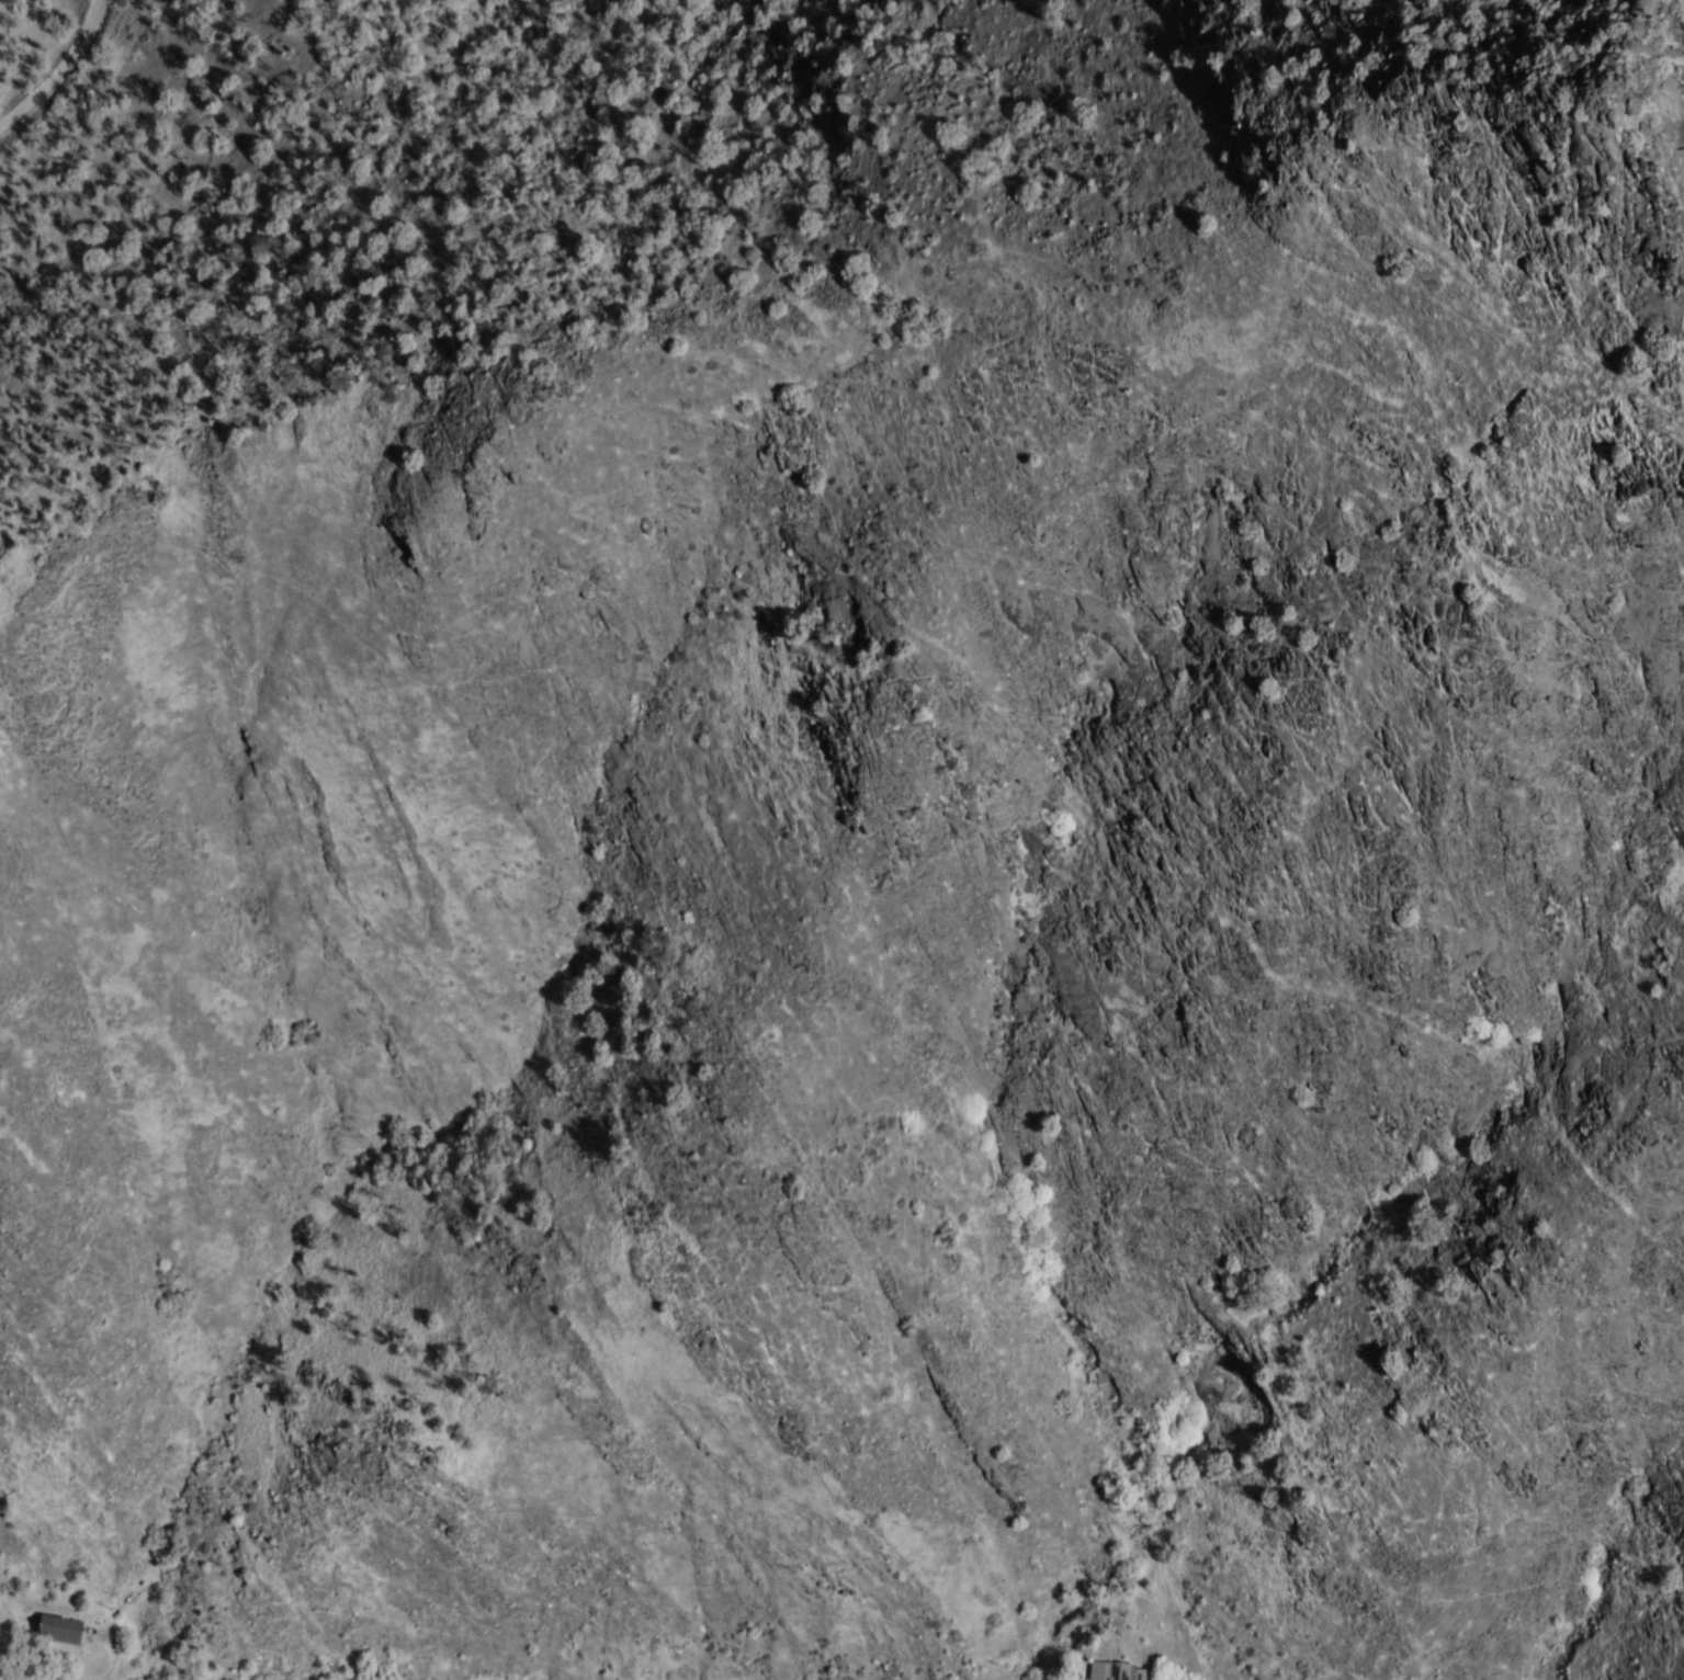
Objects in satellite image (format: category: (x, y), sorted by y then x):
road: (55, 58)
building: (56, 1633)
building: (1115, 1672)

